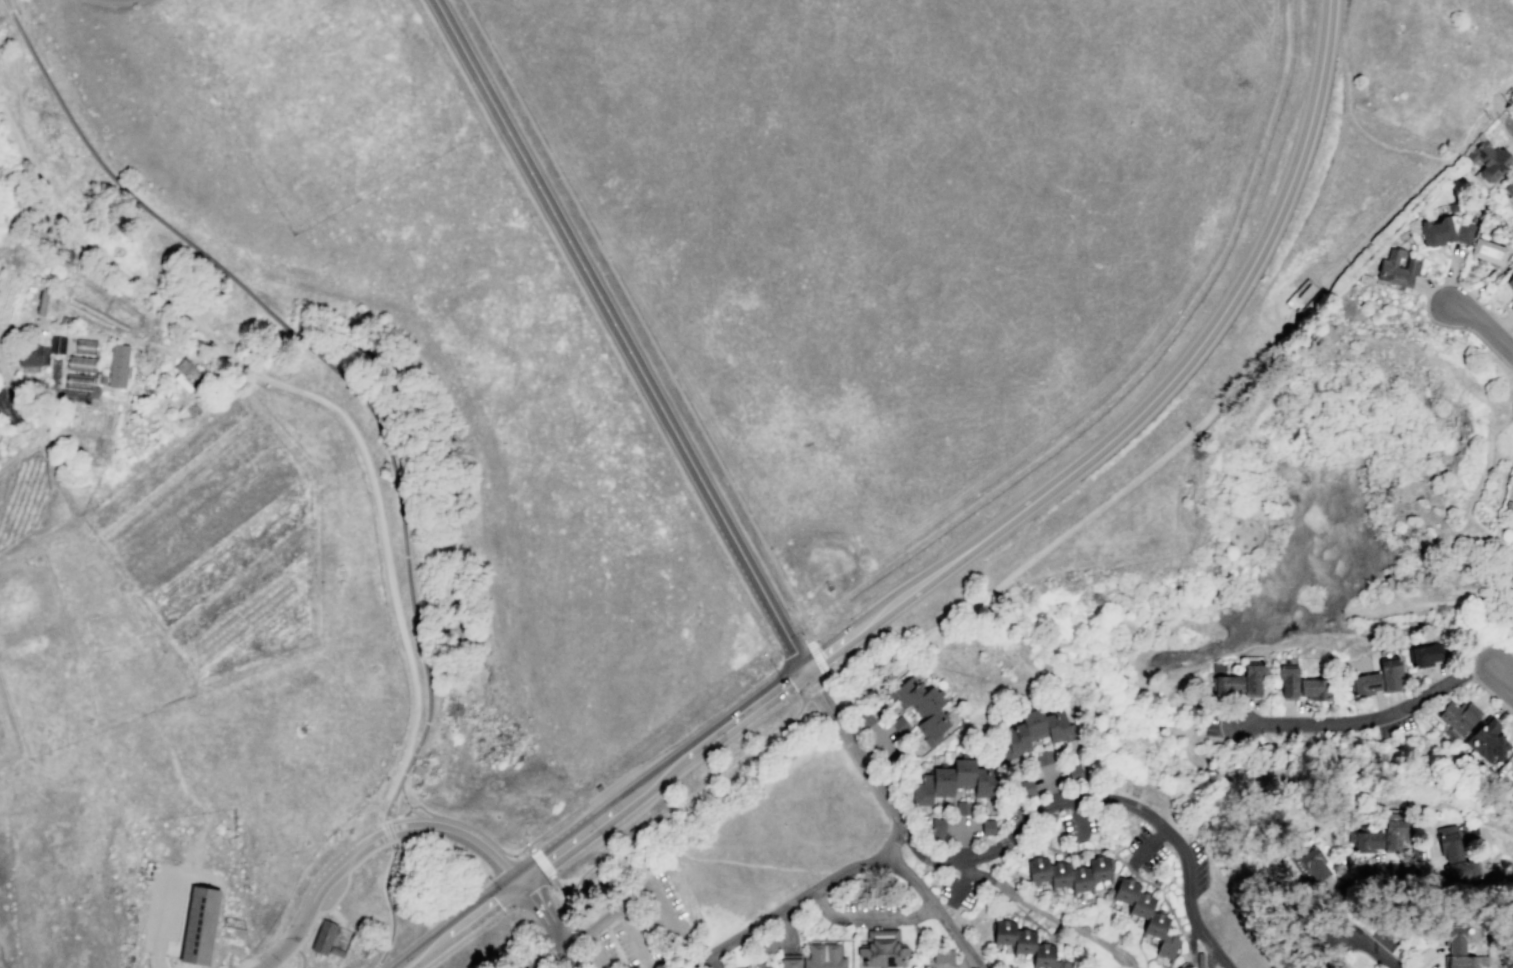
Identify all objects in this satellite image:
road: (16, 69)
road: (1507, 99)
road: (492, 105)
road: (1507, 111)
road: (1499, 122)
road: (1358, 131)
road: (1477, 132)
building: (1489, 161)
road: (1430, 183)
building: (1509, 188)
building: (1452, 207)
building: (1446, 231)
building: (1487, 251)
building: (56, 270)
building: (1396, 270)
road: (1450, 275)
building: (1363, 278)
road: (1446, 282)
building: (1510, 282)
road: (1238, 287)
power substation: (1300, 295)
building: (43, 301)
road: (1484, 307)
building: (1511, 307)
parking lot: (197, 309)
road: (638, 319)
building: (64, 320)
road: (1457, 326)
road: (1482, 326)
road: (84, 334)
building: (85, 346)
building: (57, 347)
road: (312, 348)
building: (30, 353)
road: (1156, 356)
building: (81, 366)
building: (117, 366)
building: (187, 372)
building: (76, 383)
road: (125, 389)
road: (20, 391)
road: (319, 399)
building: (169, 413)
road: (143, 424)
road: (139, 427)
road: (129, 436)
road: (677, 439)
quarry: (1325, 449)
road: (19, 453)
crop: (148, 453)
road: (1134, 476)
road: (1475, 490)
crop: (23, 497)
building: (1512, 521)
road: (78, 529)
road: (1460, 532)
park: (1299, 573)
building: (1390, 580)
road: (916, 585)
road: (1402, 596)
road: (1433, 599)
road: (132, 621)
road: (1485, 630)
street lamp: (811, 634)
road: (1107, 639)
building: (1426, 655)
road: (816, 657)
road: (876, 665)
traffic signals: (804, 667)
road: (1470, 668)
building: (1389, 674)
road: (825, 678)
building: (1239, 682)
building: (1287, 683)
building: (1366, 684)
road: (815, 687)
building: (1312, 688)
building: (922, 707)
road: (739, 715)
road: (1390, 717)
building: (1458, 717)
road: (809, 723)
building: (1034, 731)
crop: (9, 734)
road: (879, 739)
road: (872, 741)
building: (1488, 741)
road: (932, 750)
road: (848, 754)
road: (1319, 754)
building: (1044, 757)
building: (417, 769)
building: (1074, 772)
road: (1222, 772)
road: (398, 778)
building: (956, 782)
building: (1026, 787)
road: (189, 795)
road: (391, 801)
road: (679, 802)
road: (410, 806)
road: (614, 808)
building: (962, 808)
road: (1076, 817)
parking lot: (1078, 823)
building: (987, 826)
road: (962, 827)
building: (937, 828)
road: (1048, 828)
road: (389, 829)
road: (383, 830)
road: (392, 830)
road: (1016, 831)
building: (1392, 832)
road: (894, 838)
road: (965, 839)
building: (1365, 840)
road: (477, 845)
road: (510, 849)
road: (1147, 849)
road: (1104, 850)
parking lot: (1197, 852)
road: (511, 855)
building: (1454, 856)
road: (539, 860)
road: (727, 860)
building: (1309, 864)
road: (1371, 865)
road: (535, 867)
road: (1342, 867)
road: (816, 870)
building: (1068, 873)
road: (960, 880)
parking lot: (975, 880)
traffic signals: (517, 882)
road: (204, 886)
parking lot: (340, 886)
parking lot: (1191, 892)
parking lot: (332, 893)
road: (165, 896)
parking lot: (872, 898)
parking lot: (167, 902)
road: (333, 902)
road: (388, 904)
road: (787, 907)
road: (309, 908)
road: (936, 910)
road: (1277, 912)
road: (668, 913)
road: (1045, 914)
building: (1145, 915)
road: (337, 916)
road: (867, 918)
road: (548, 921)
road: (459, 924)
road: (1038, 924)
building: (198, 925)
road: (786, 926)
parking lot: (636, 929)
road: (824, 930)
road: (591, 931)
road: (180, 932)
building: (323, 937)
road: (635, 938)
road: (1191, 939)
road: (843, 940)
parking lot: (1386, 940)
road: (916, 942)
parking lot: (631, 944)
building: (1025, 944)
road: (850, 947)
road: (600, 949)
building: (882, 949)
building: (1460, 950)
building: (336, 951)
road: (541, 956)
road: (301, 957)
building: (815, 957)
building: (943, 957)
road: (713, 961)
road: (181, 964)
road: (1120, 964)
road: (1129, 964)
building: (764, 965)

